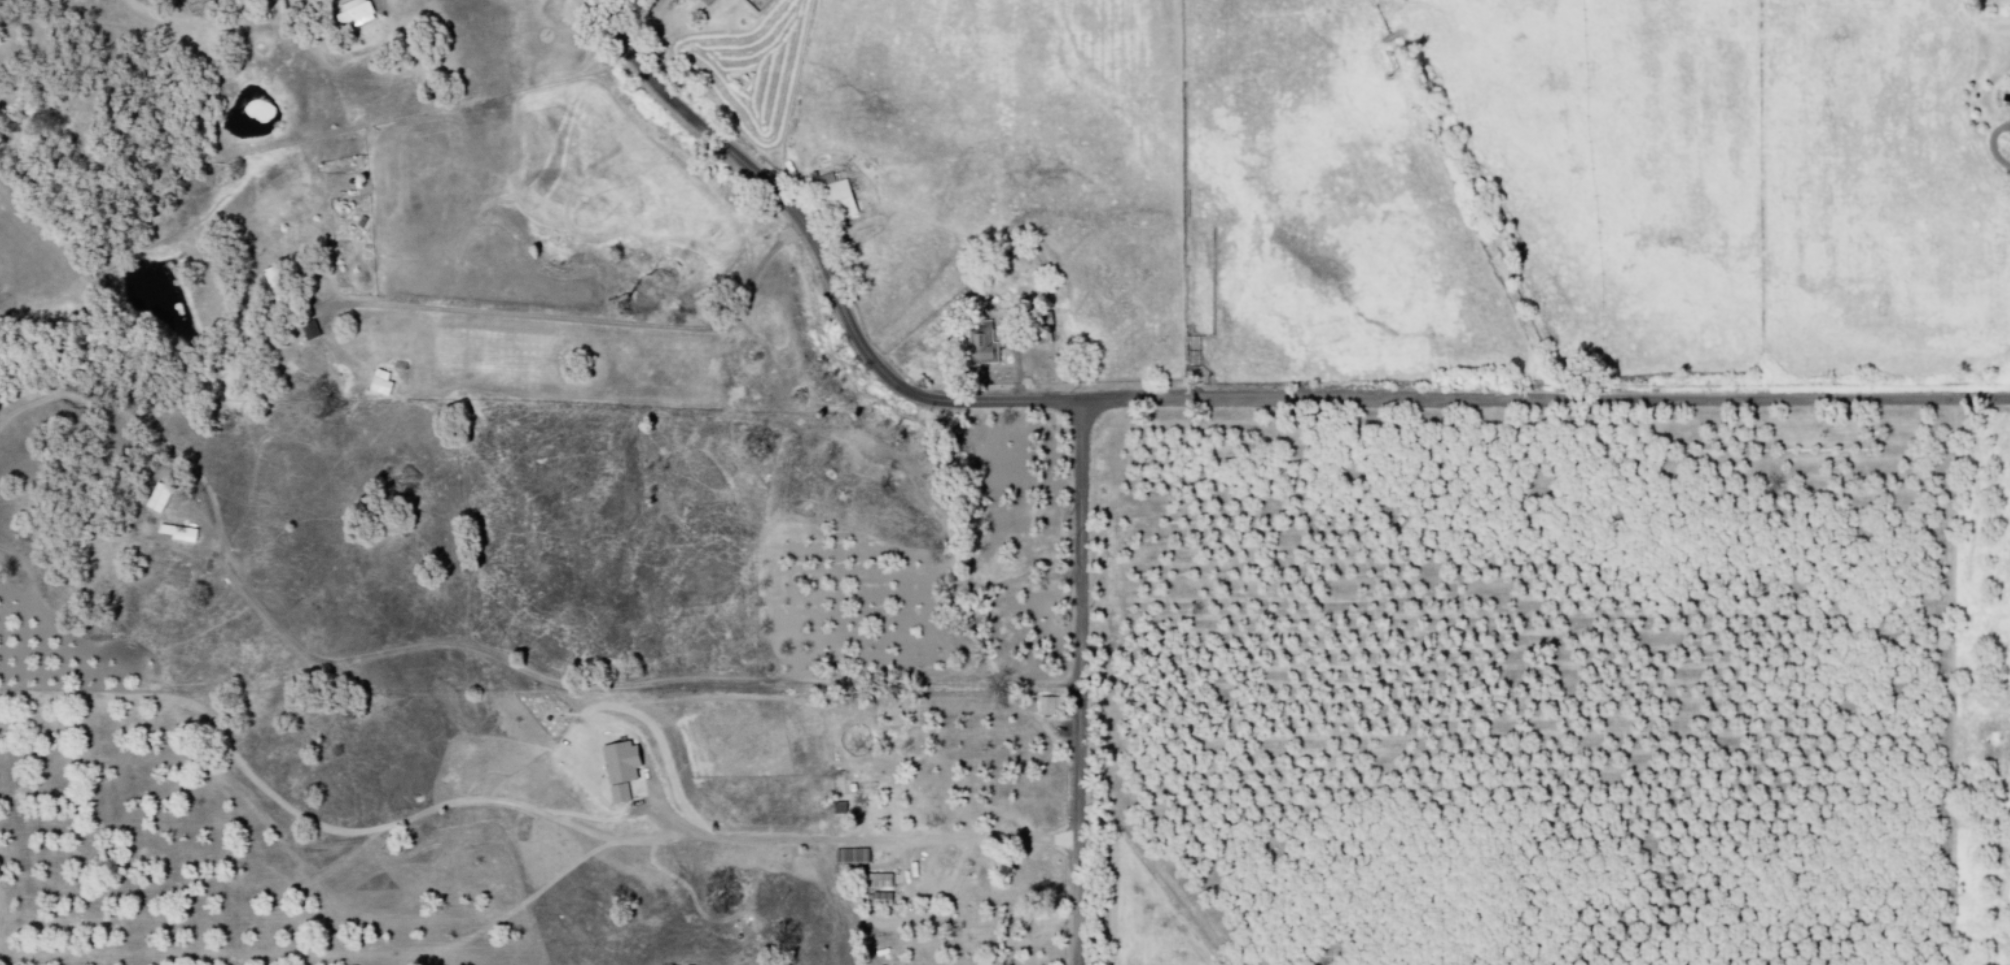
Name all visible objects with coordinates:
building: (703, 2)
building: (748, 4)
building: (351, 13)
road: (1990, 143)
building: (830, 195)
road: (587, 321)
building: (305, 331)
building: (978, 347)
building: (376, 383)
road: (1206, 401)
road: (855, 428)
building: (154, 498)
building: (174, 532)
road: (1079, 683)
road: (615, 693)
building: (616, 768)
road: (509, 797)
building: (848, 856)
building: (872, 880)
building: (875, 899)

